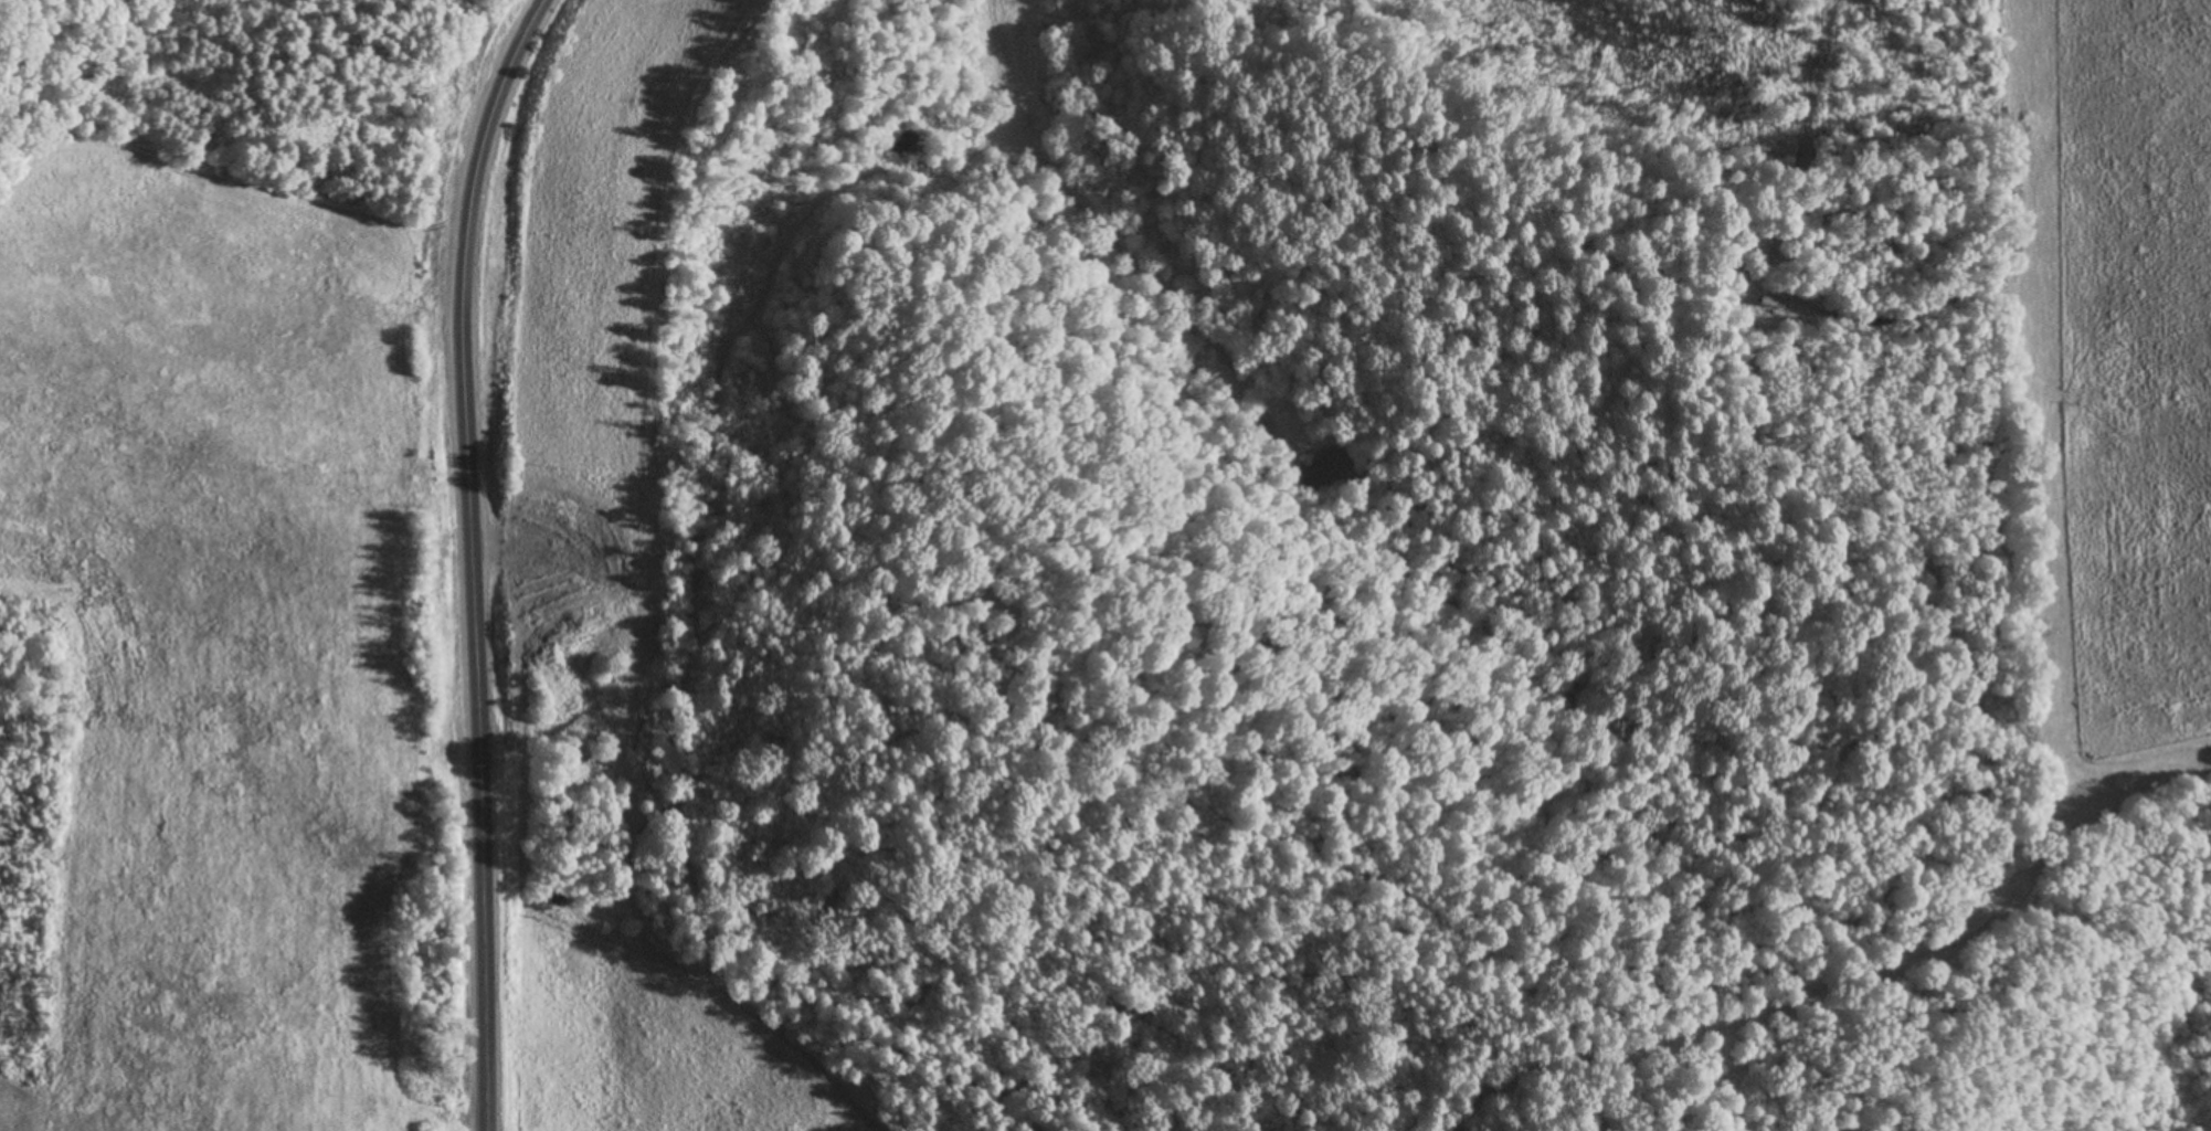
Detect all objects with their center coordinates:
building: (1770, 303)
road: (478, 559)

